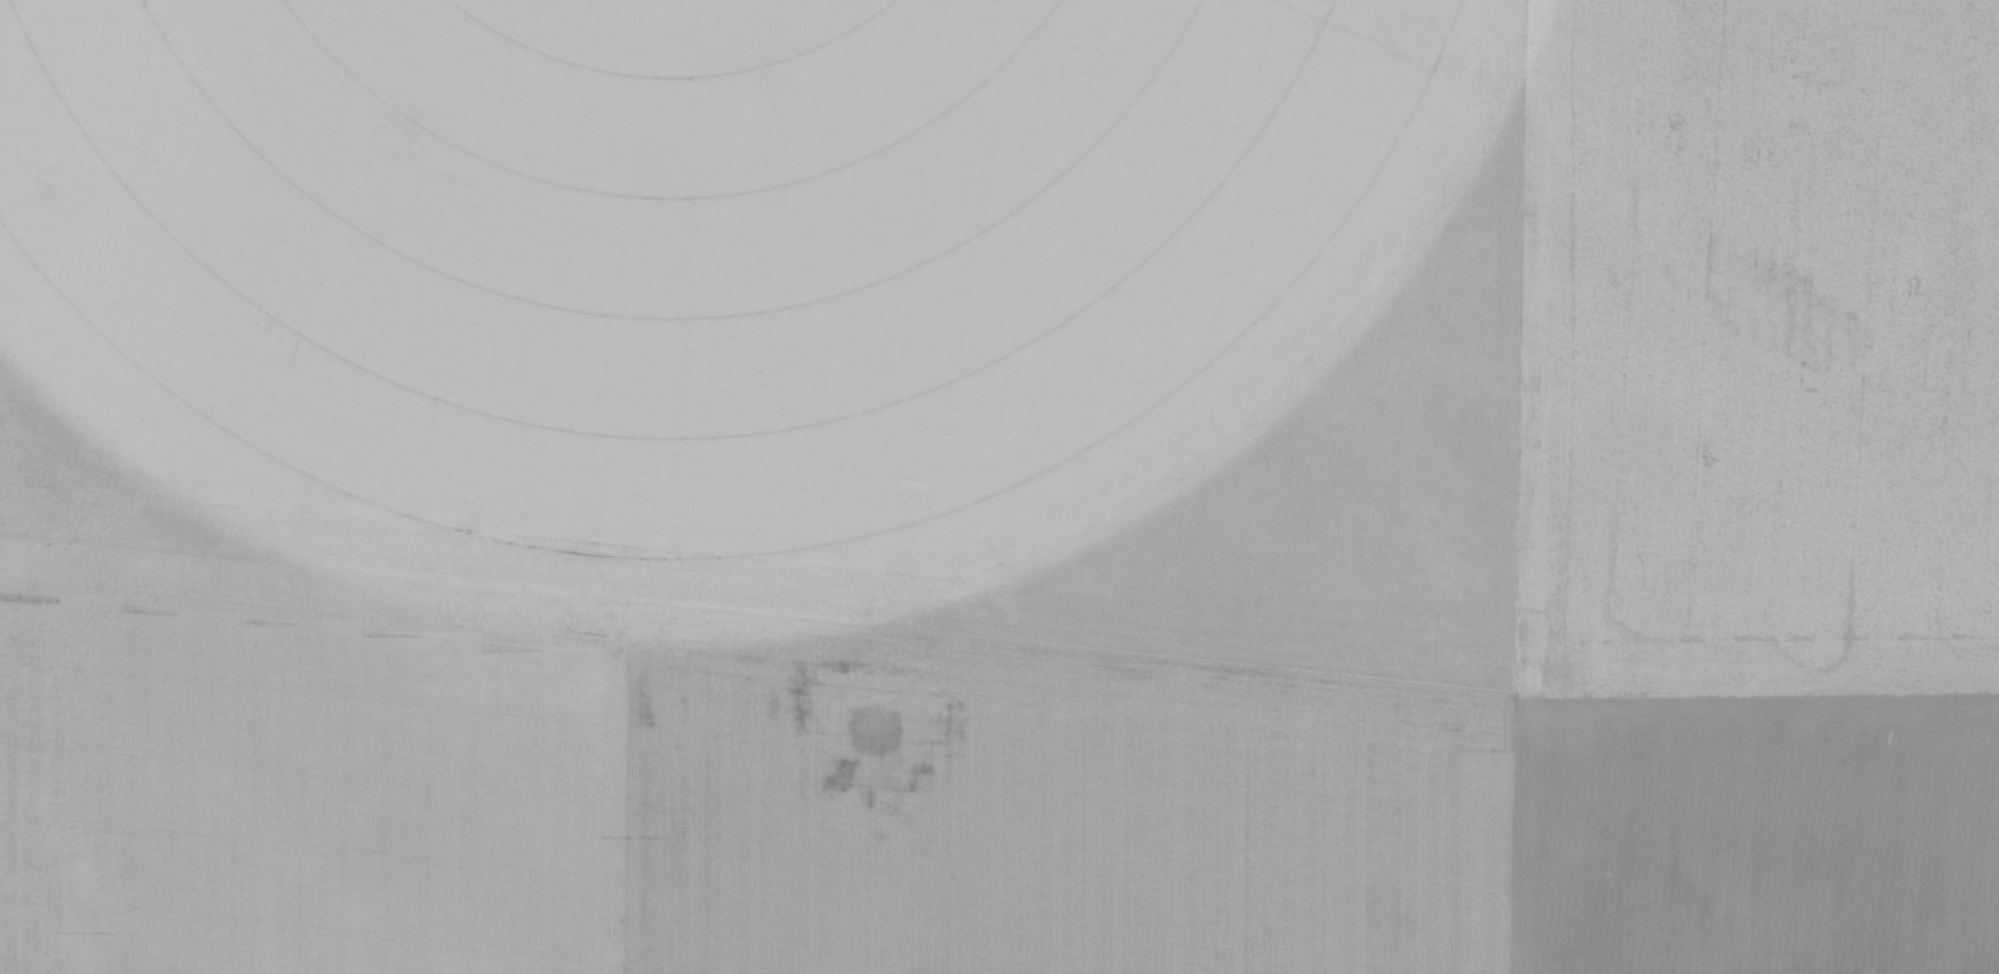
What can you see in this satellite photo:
crop: (999, 487)

